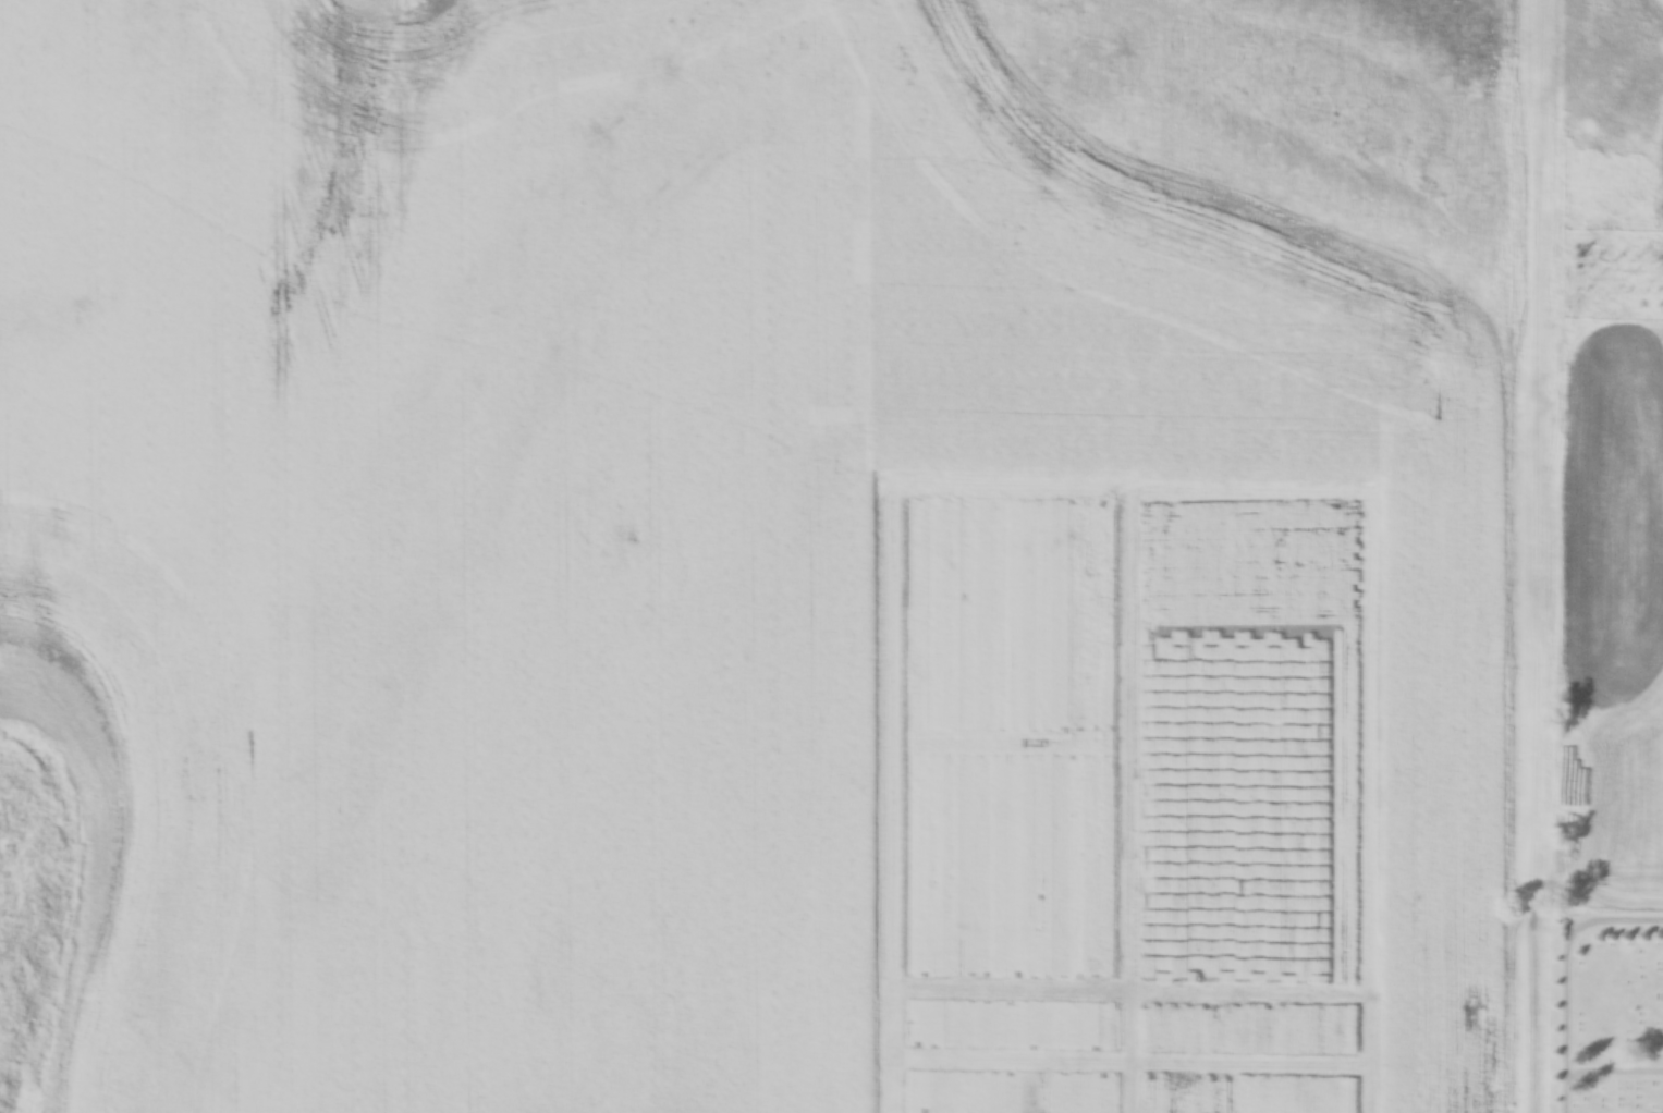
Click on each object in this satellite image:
road: (1541, 726)

